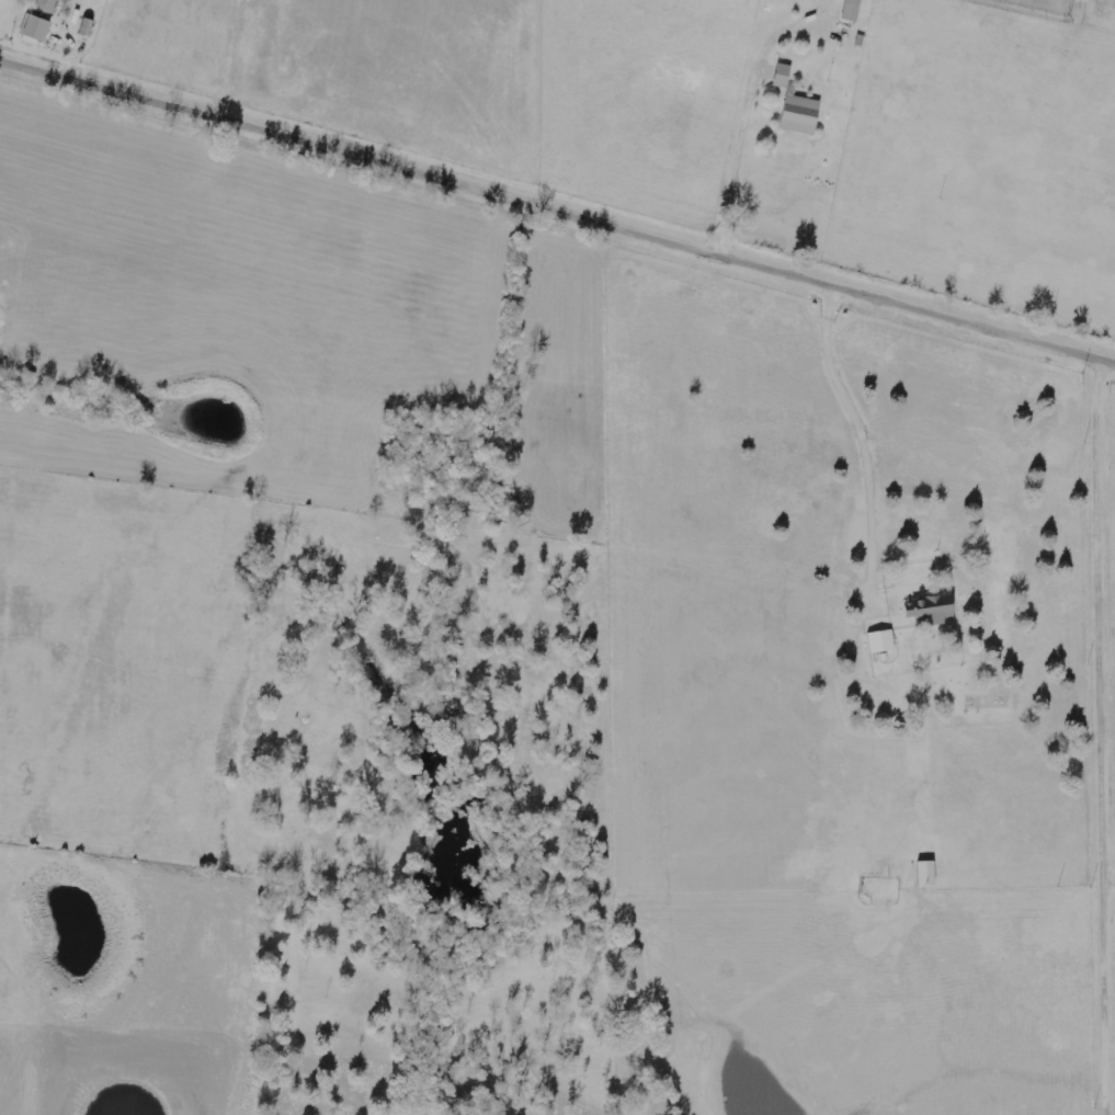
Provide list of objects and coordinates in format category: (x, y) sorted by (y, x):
building: (773, 2)
building: (46, 5)
building: (852, 10)
building: (35, 29)
building: (783, 76)
building: (800, 114)
road: (557, 213)
building: (932, 610)
building: (881, 641)
road: (1110, 674)
building: (926, 875)

